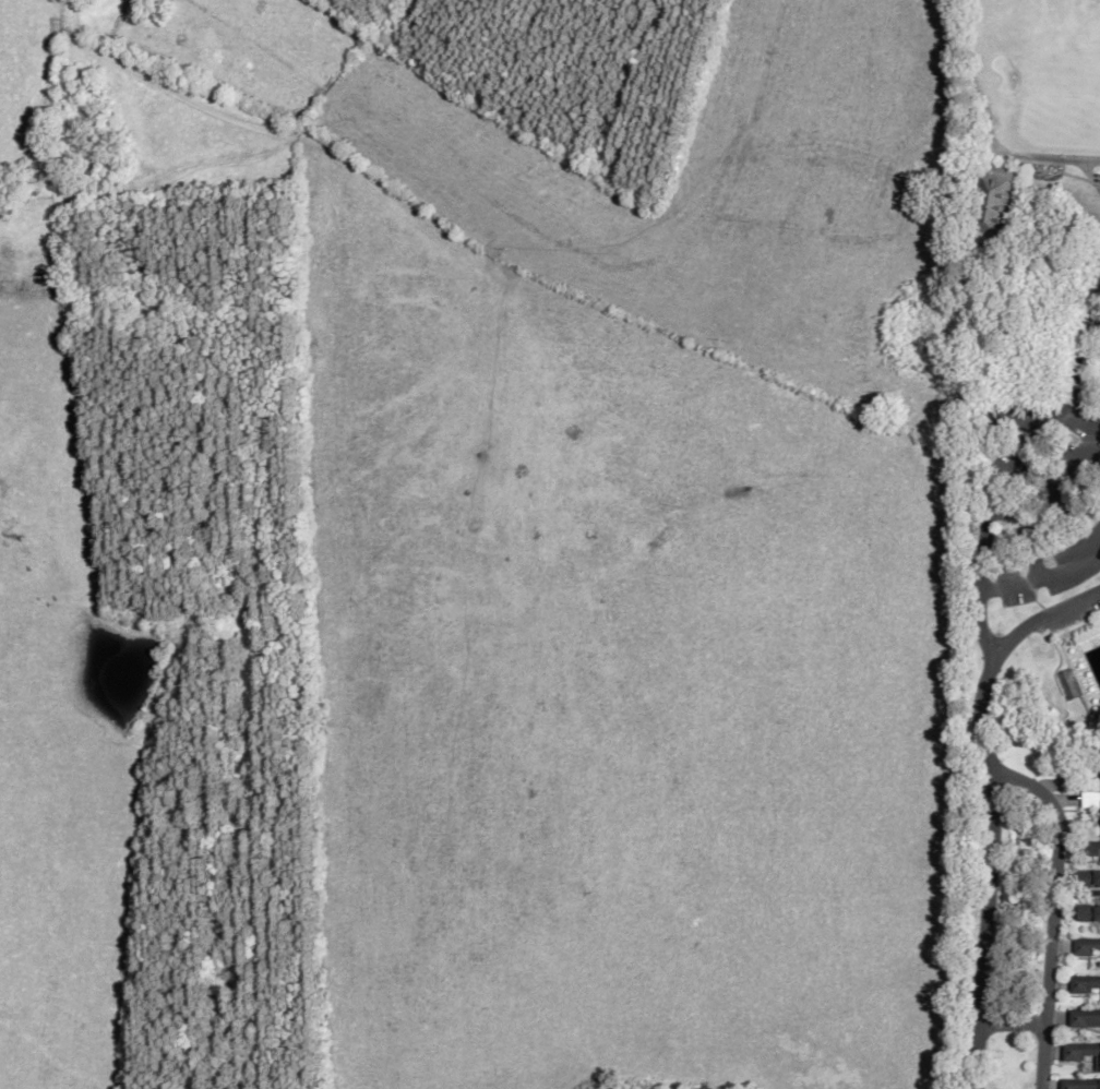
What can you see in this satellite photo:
building: (990, 206)
road: (980, 624)
building: (1067, 684)
building: (1091, 792)
building: (1091, 840)
road: (991, 871)
building: (1088, 879)
road: (1052, 911)
building: (1088, 913)
building: (1087, 946)
building: (1085, 984)
building: (1085, 1017)
road: (1014, 1021)
building: (1083, 1051)
building: (1080, 1084)

